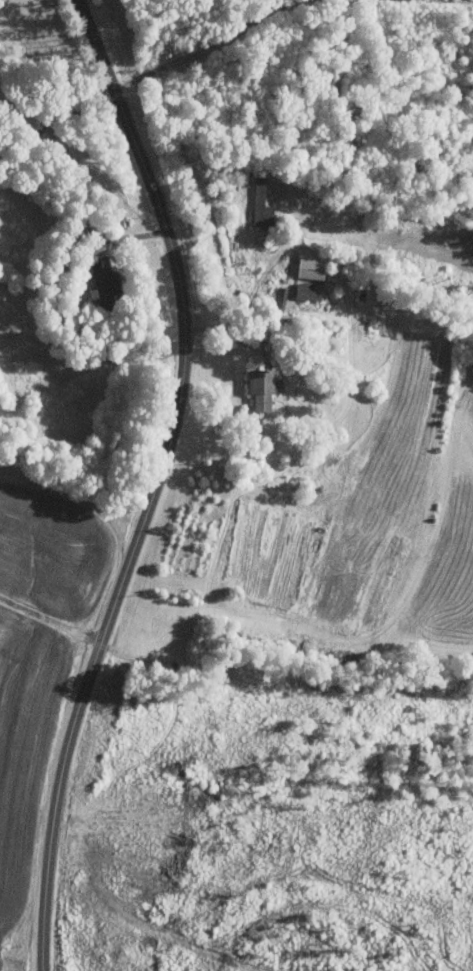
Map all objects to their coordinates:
road: (60, 106)
building: (265, 206)
building: (314, 269)
building: (107, 281)
building: (309, 292)
building: (267, 388)
road: (157, 483)
road: (50, 619)

